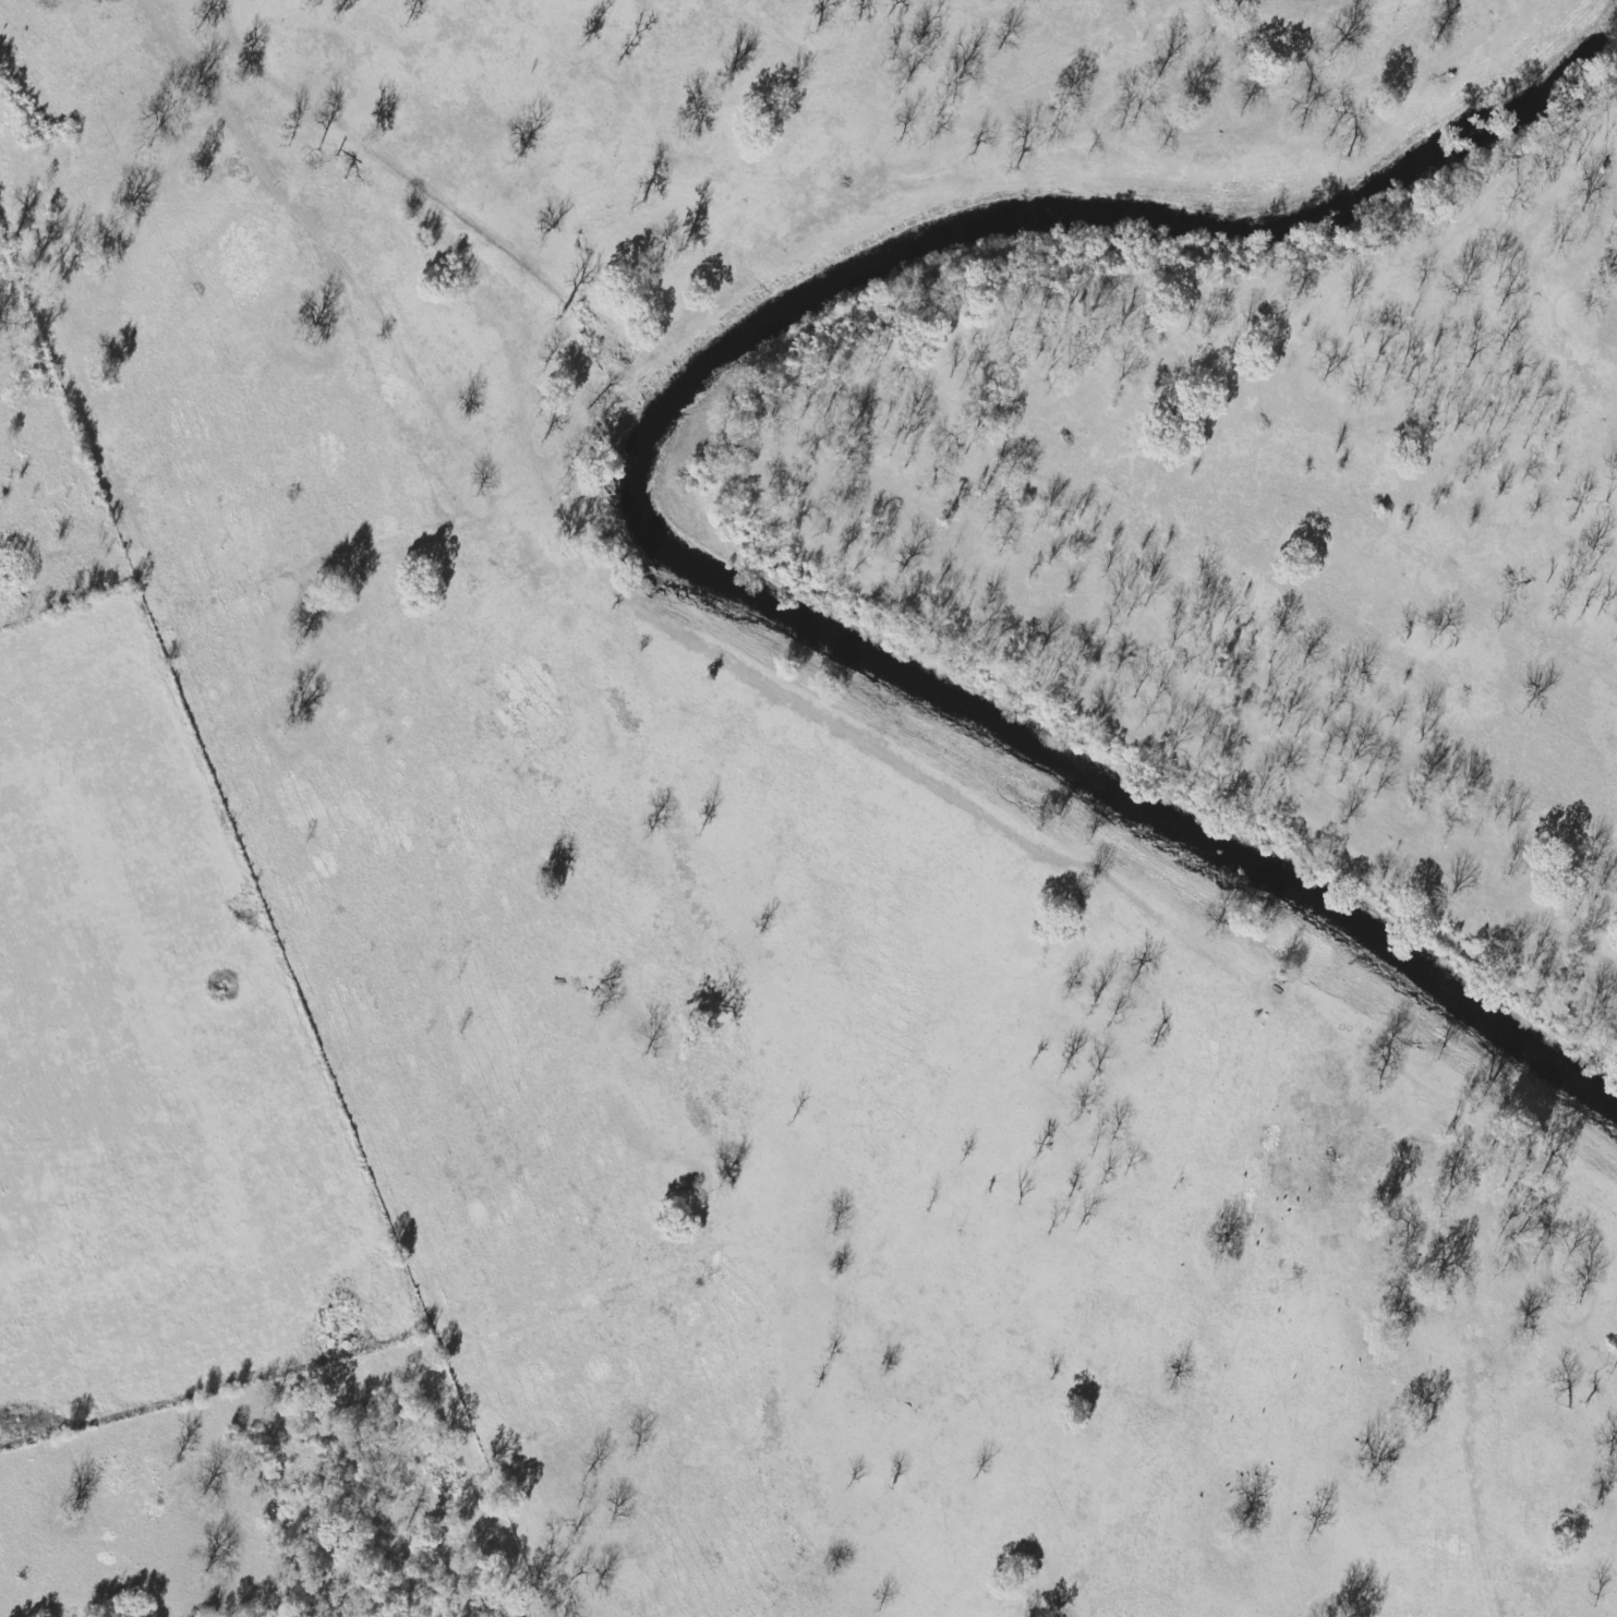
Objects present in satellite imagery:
river: (1171, 208)

